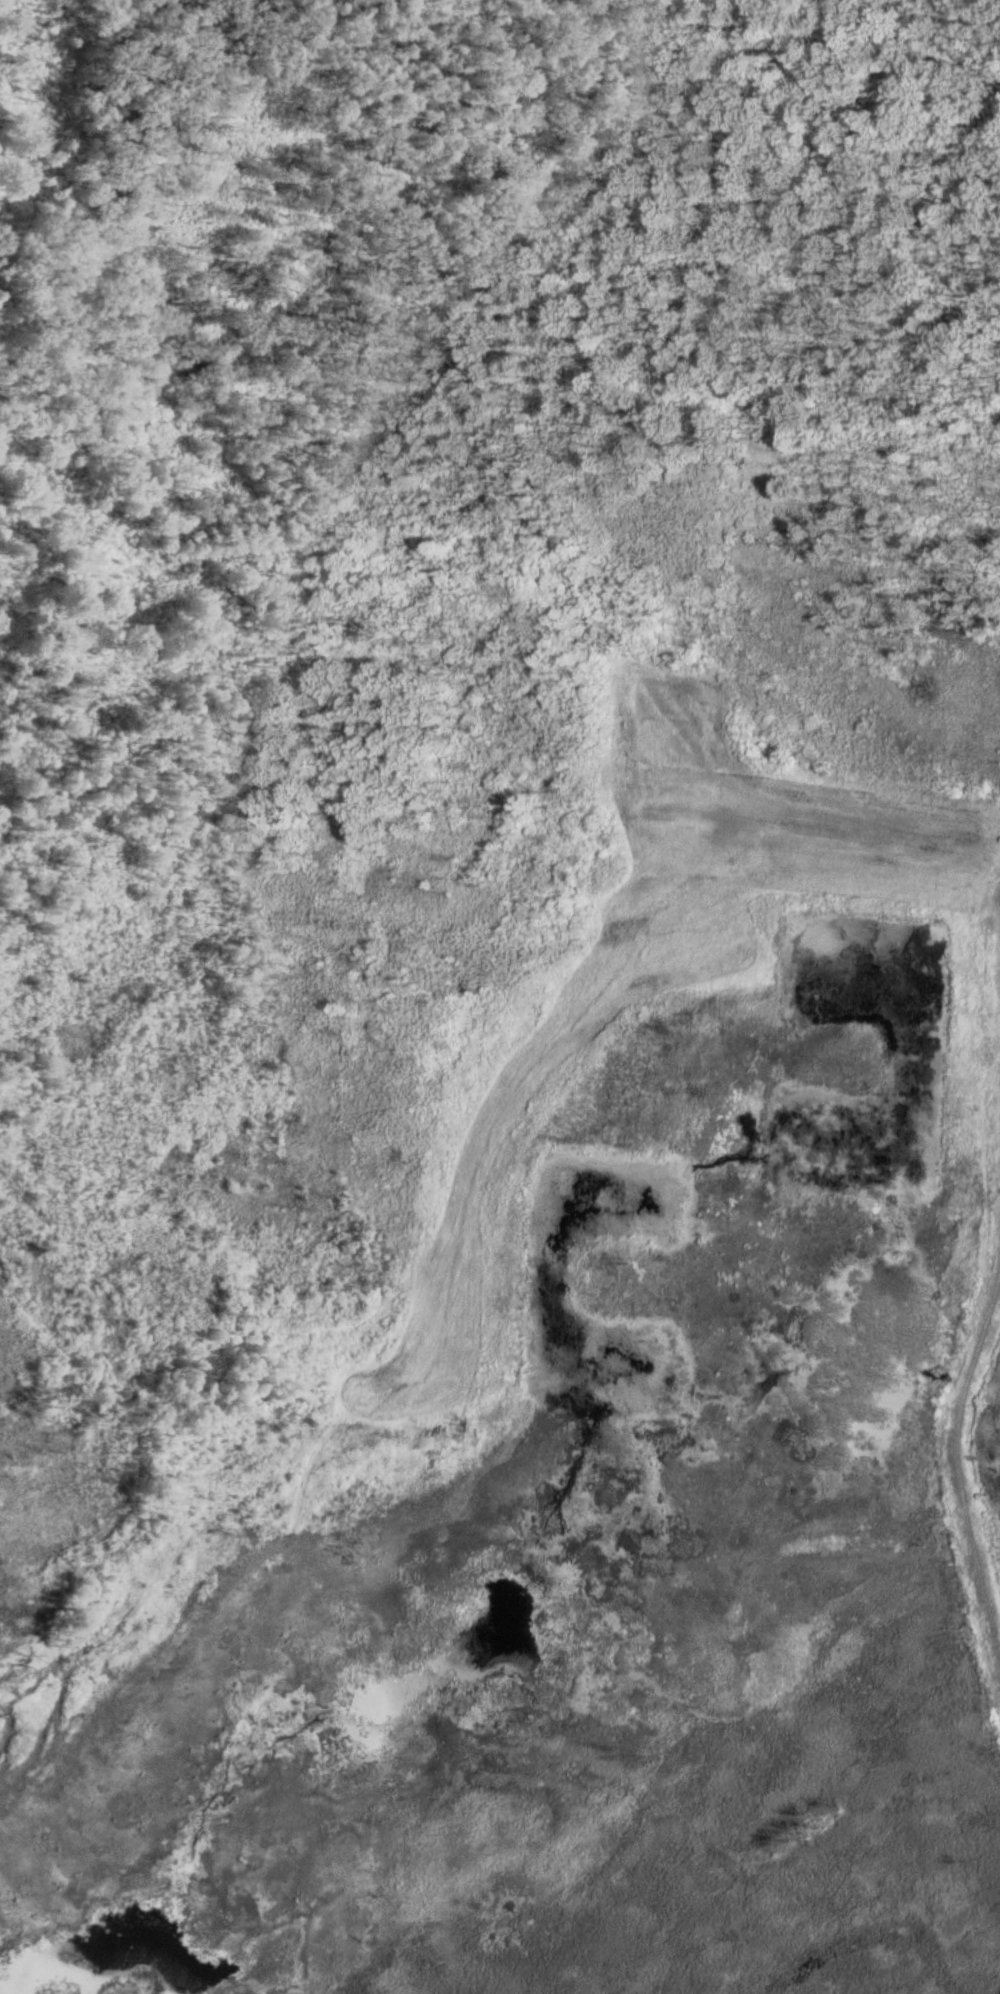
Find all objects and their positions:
road: (959, 1425)

